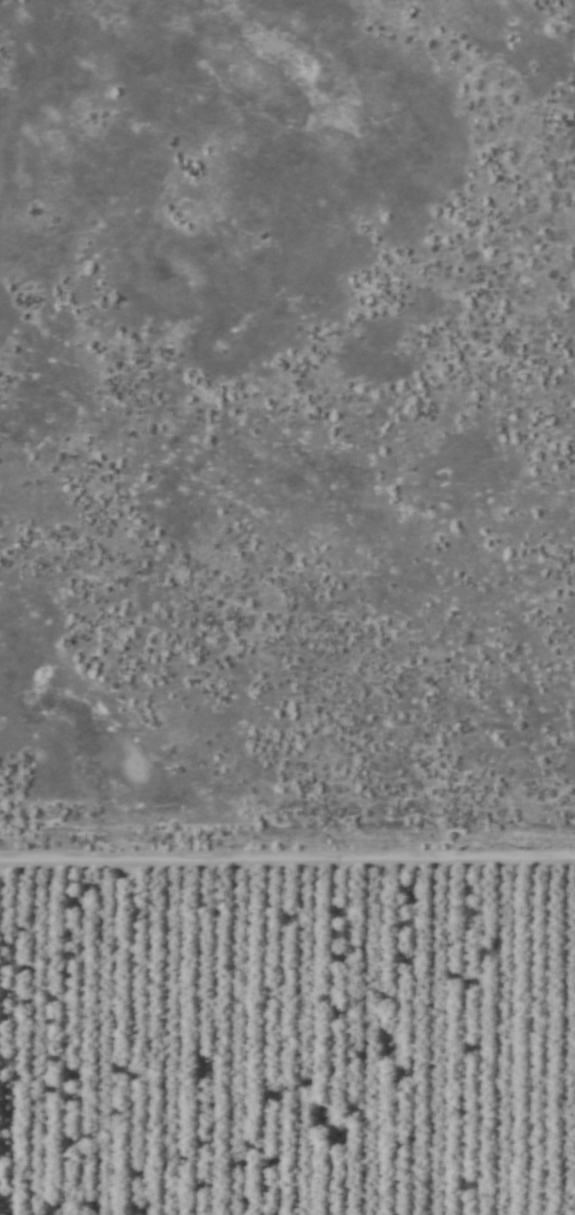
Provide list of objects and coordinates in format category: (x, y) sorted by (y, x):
road: (287, 866)

